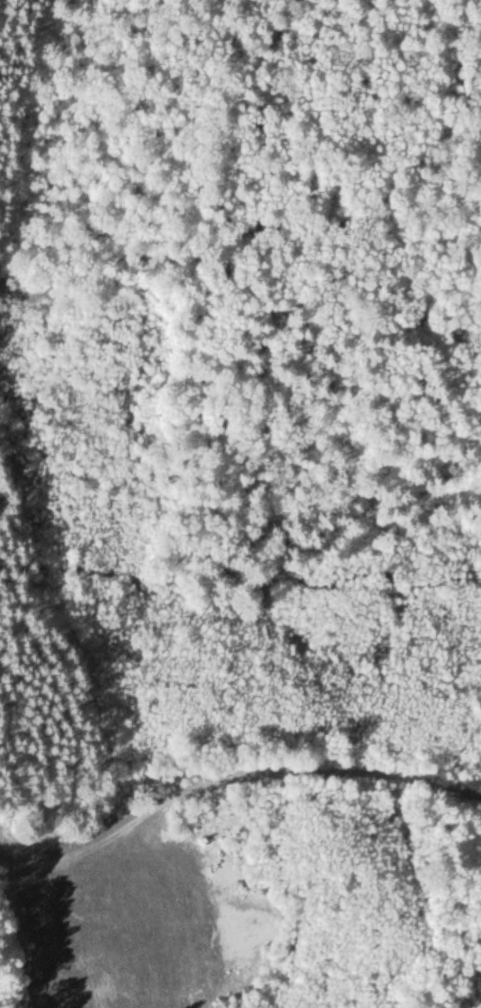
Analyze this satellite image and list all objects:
road: (234, 779)

